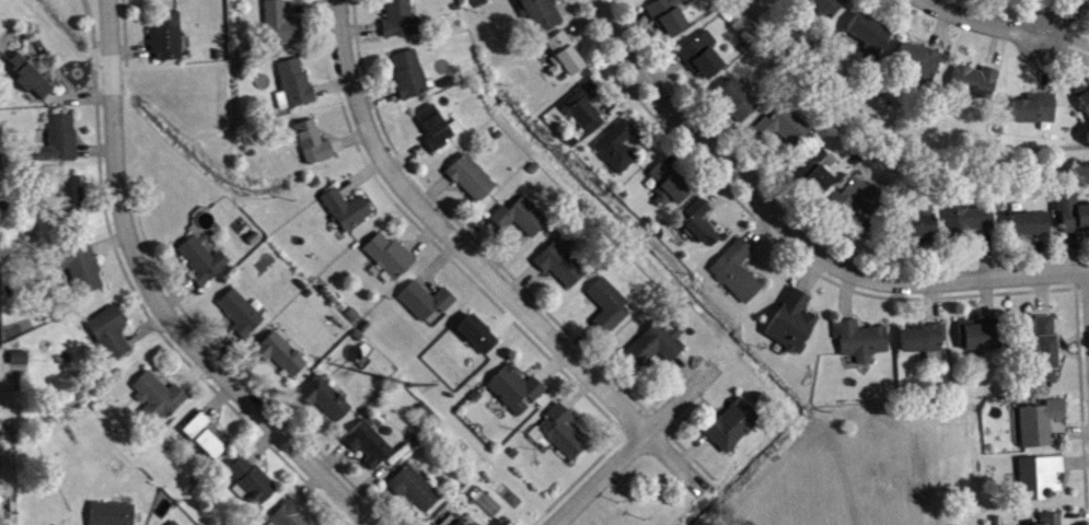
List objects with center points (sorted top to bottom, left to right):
building: (1086, 1)
building: (826, 8)
building: (542, 15)
building: (670, 19)
building: (402, 21)
road: (985, 21)
building: (282, 27)
building: (870, 34)
building: (169, 40)
building: (566, 59)
building: (704, 59)
building: (918, 63)
building: (410, 78)
building: (30, 80)
building: (977, 84)
building: (297, 85)
building: (1085, 98)
building: (739, 103)
building: (586, 110)
building: (1036, 112)
building: (786, 129)
building: (439, 131)
building: (60, 143)
building: (314, 145)
road: (709, 148)
building: (618, 149)
road: (884, 150)
building: (816, 175)
building: (472, 182)
building: (73, 198)
building: (862, 199)
building: (348, 212)
building: (1074, 215)
building: (521, 220)
building: (970, 220)
building: (702, 226)
building: (1032, 226)
building: (391, 258)
building: (204, 264)
road: (479, 265)
building: (561, 267)
building: (83, 271)
building: (738, 275)
road: (969, 279)
road: (160, 300)
building: (428, 304)
building: (610, 308)
building: (243, 316)
building: (792, 325)
building: (112, 336)
building: (479, 337)
building: (982, 338)
building: (925, 341)
building: (862, 343)
building: (659, 346)
building: (1047, 352)
building: (282, 357)
power tower: (398, 367)
building: (518, 393)
building: (160, 399)
building: (326, 401)
building: (1041, 425)
building: (733, 429)
building: (560, 435)
building: (205, 440)
building: (370, 446)
road: (633, 448)
building: (1041, 480)
building: (253, 486)
building: (417, 492)
building: (113, 515)
building: (291, 517)
building: (1052, 521)
building: (450, 523)
building: (176, 524)
building: (459, 524)

